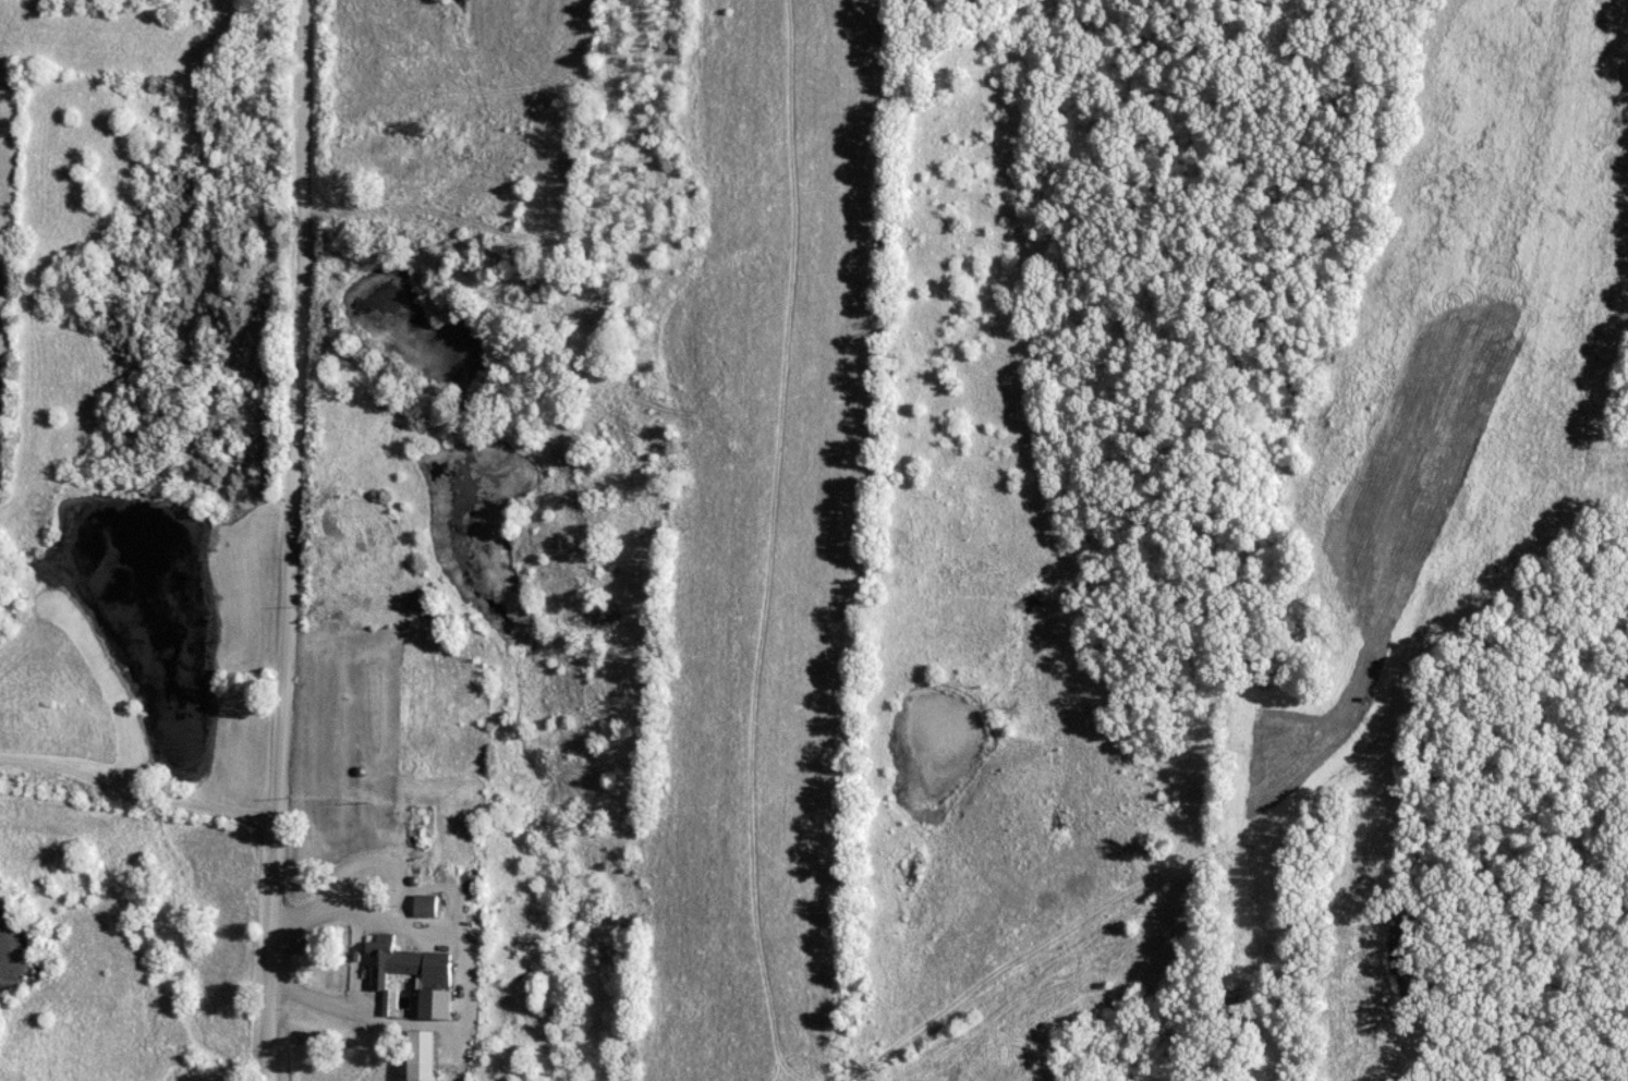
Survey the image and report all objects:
road: (284, 540)
road: (135, 797)
building: (429, 906)
building: (411, 964)
building: (428, 1055)

